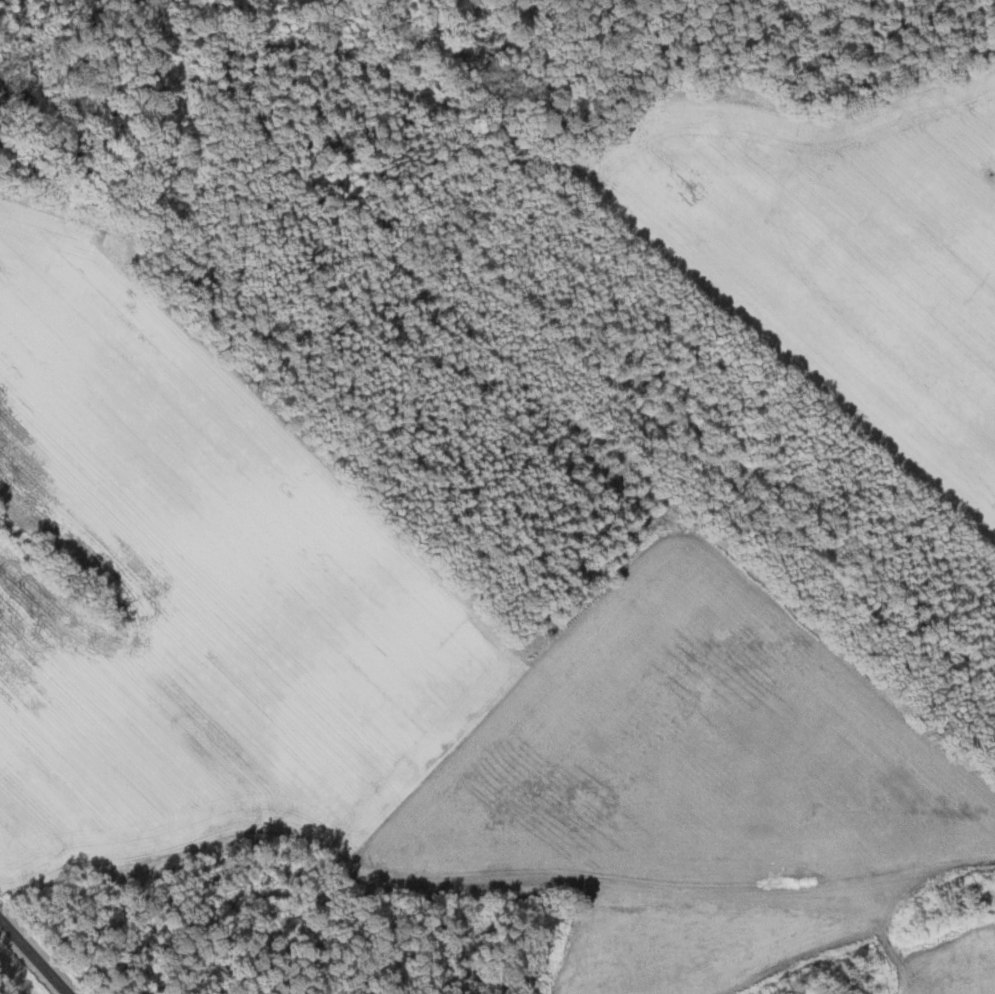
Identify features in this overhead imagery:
road: (32, 957)

